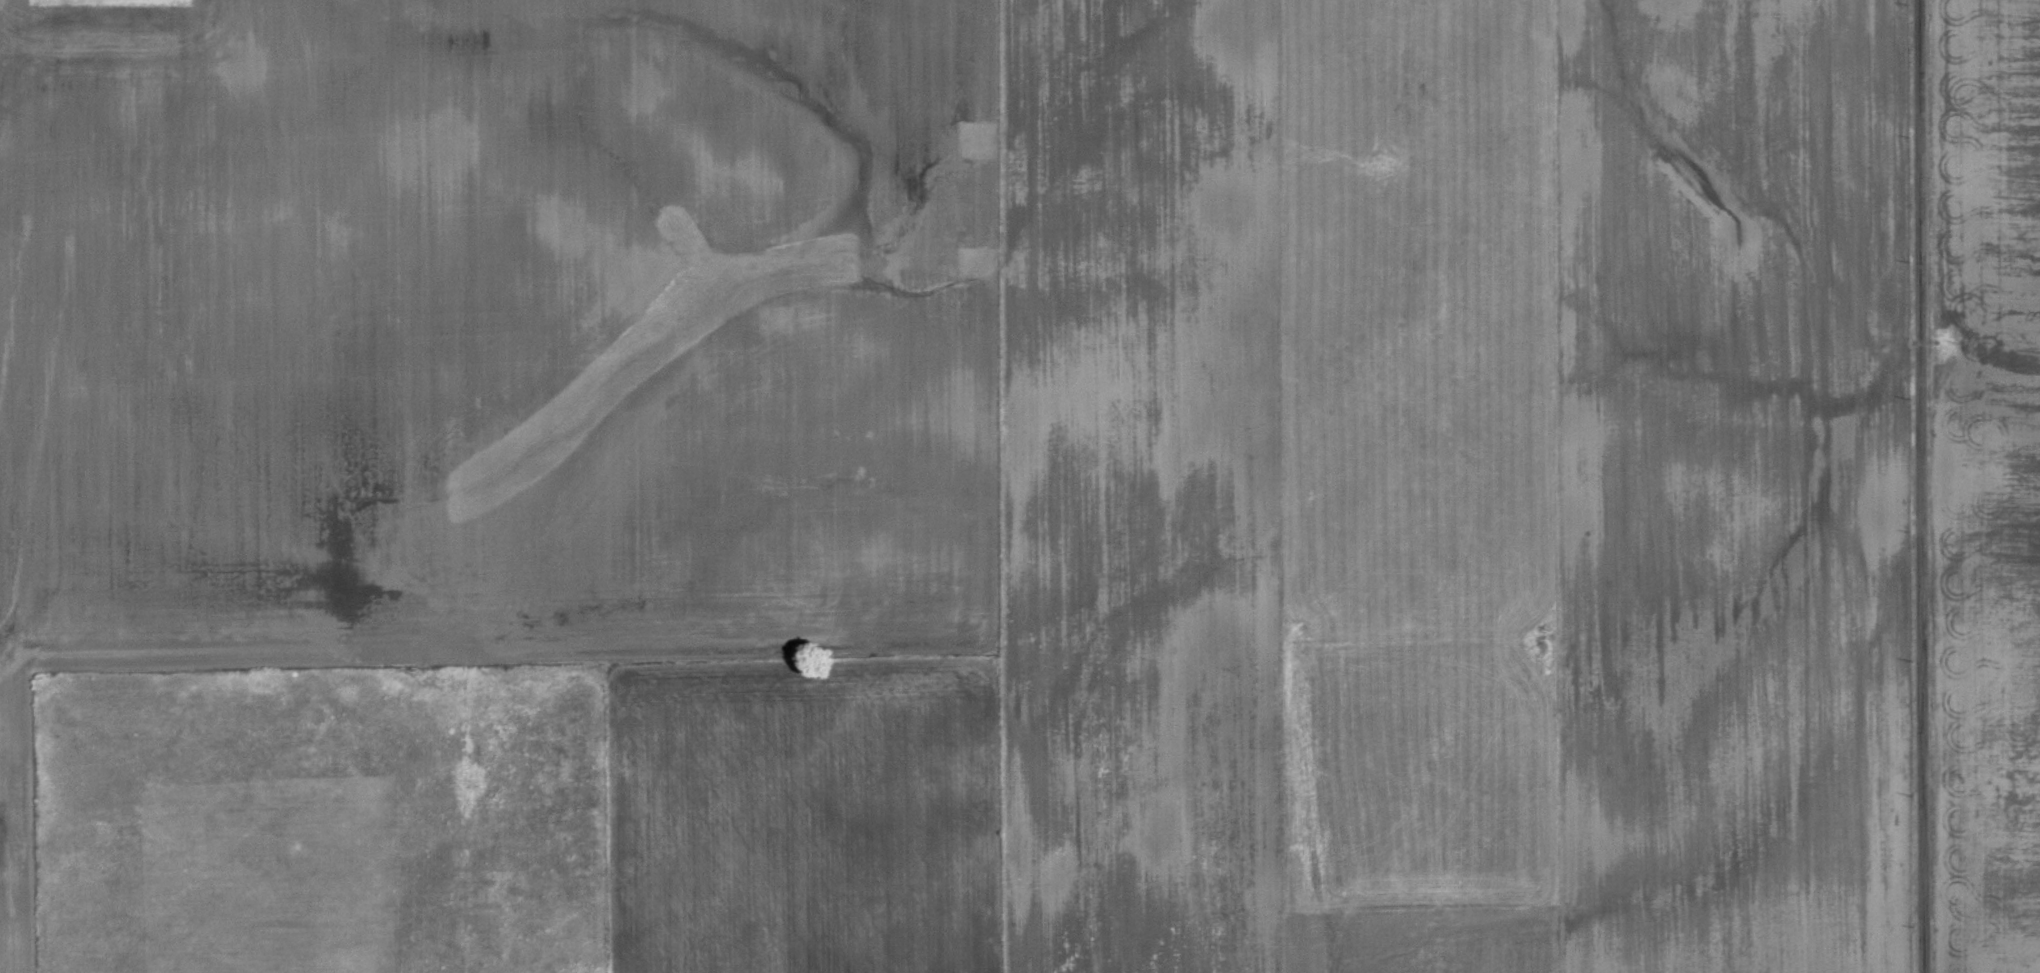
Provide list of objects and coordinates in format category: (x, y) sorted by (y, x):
road: (1924, 486)

